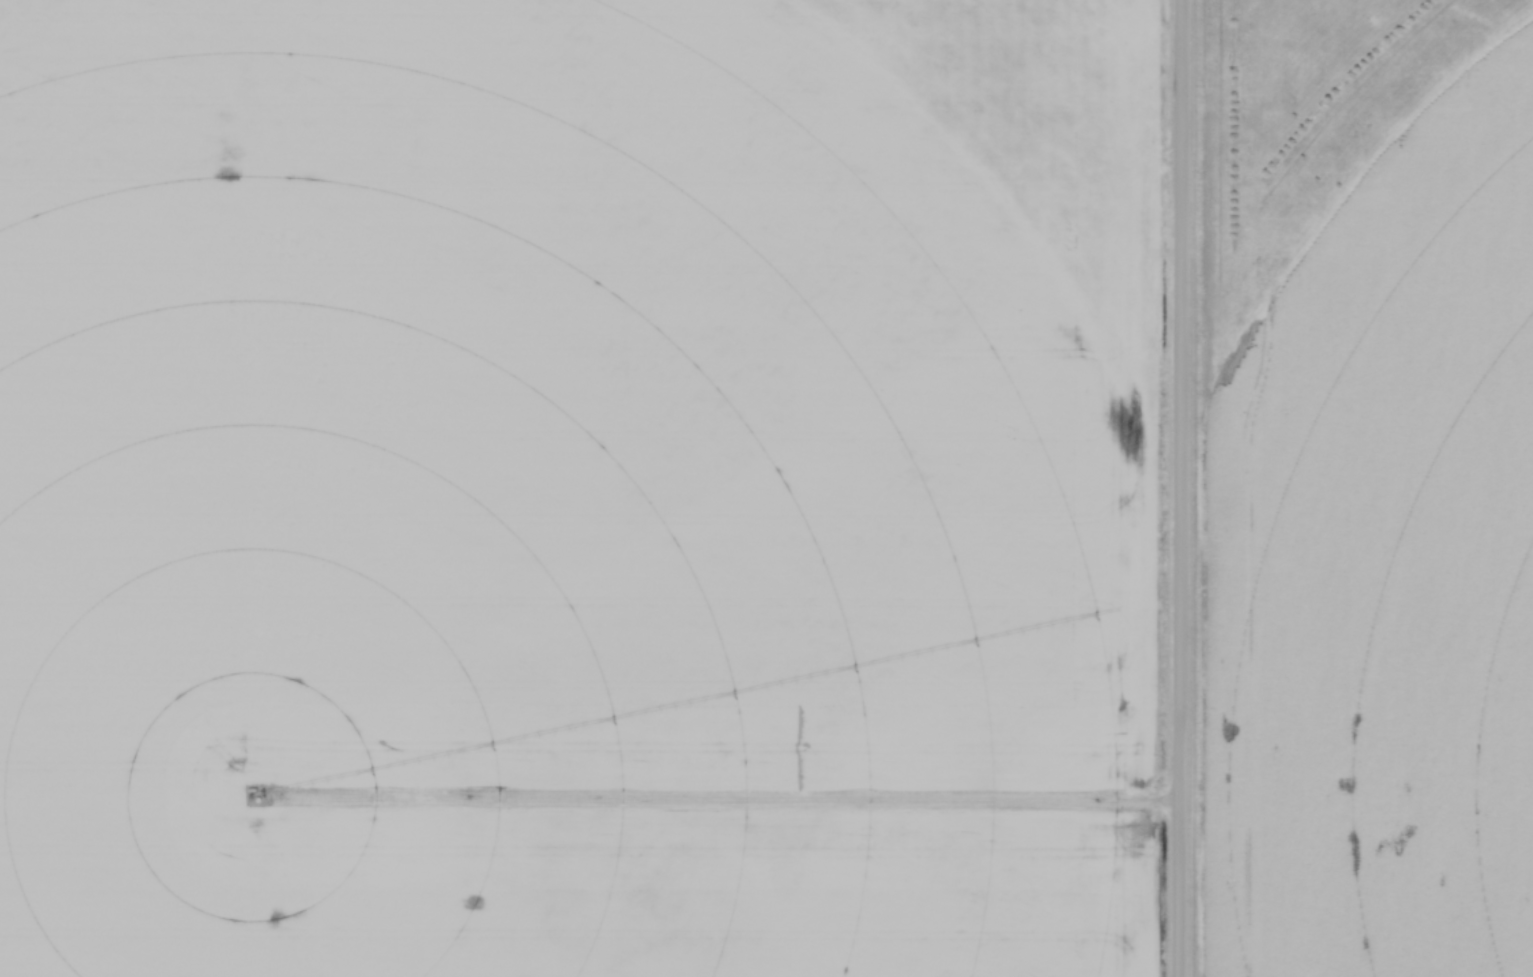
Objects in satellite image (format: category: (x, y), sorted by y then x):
road: (1183, 488)

